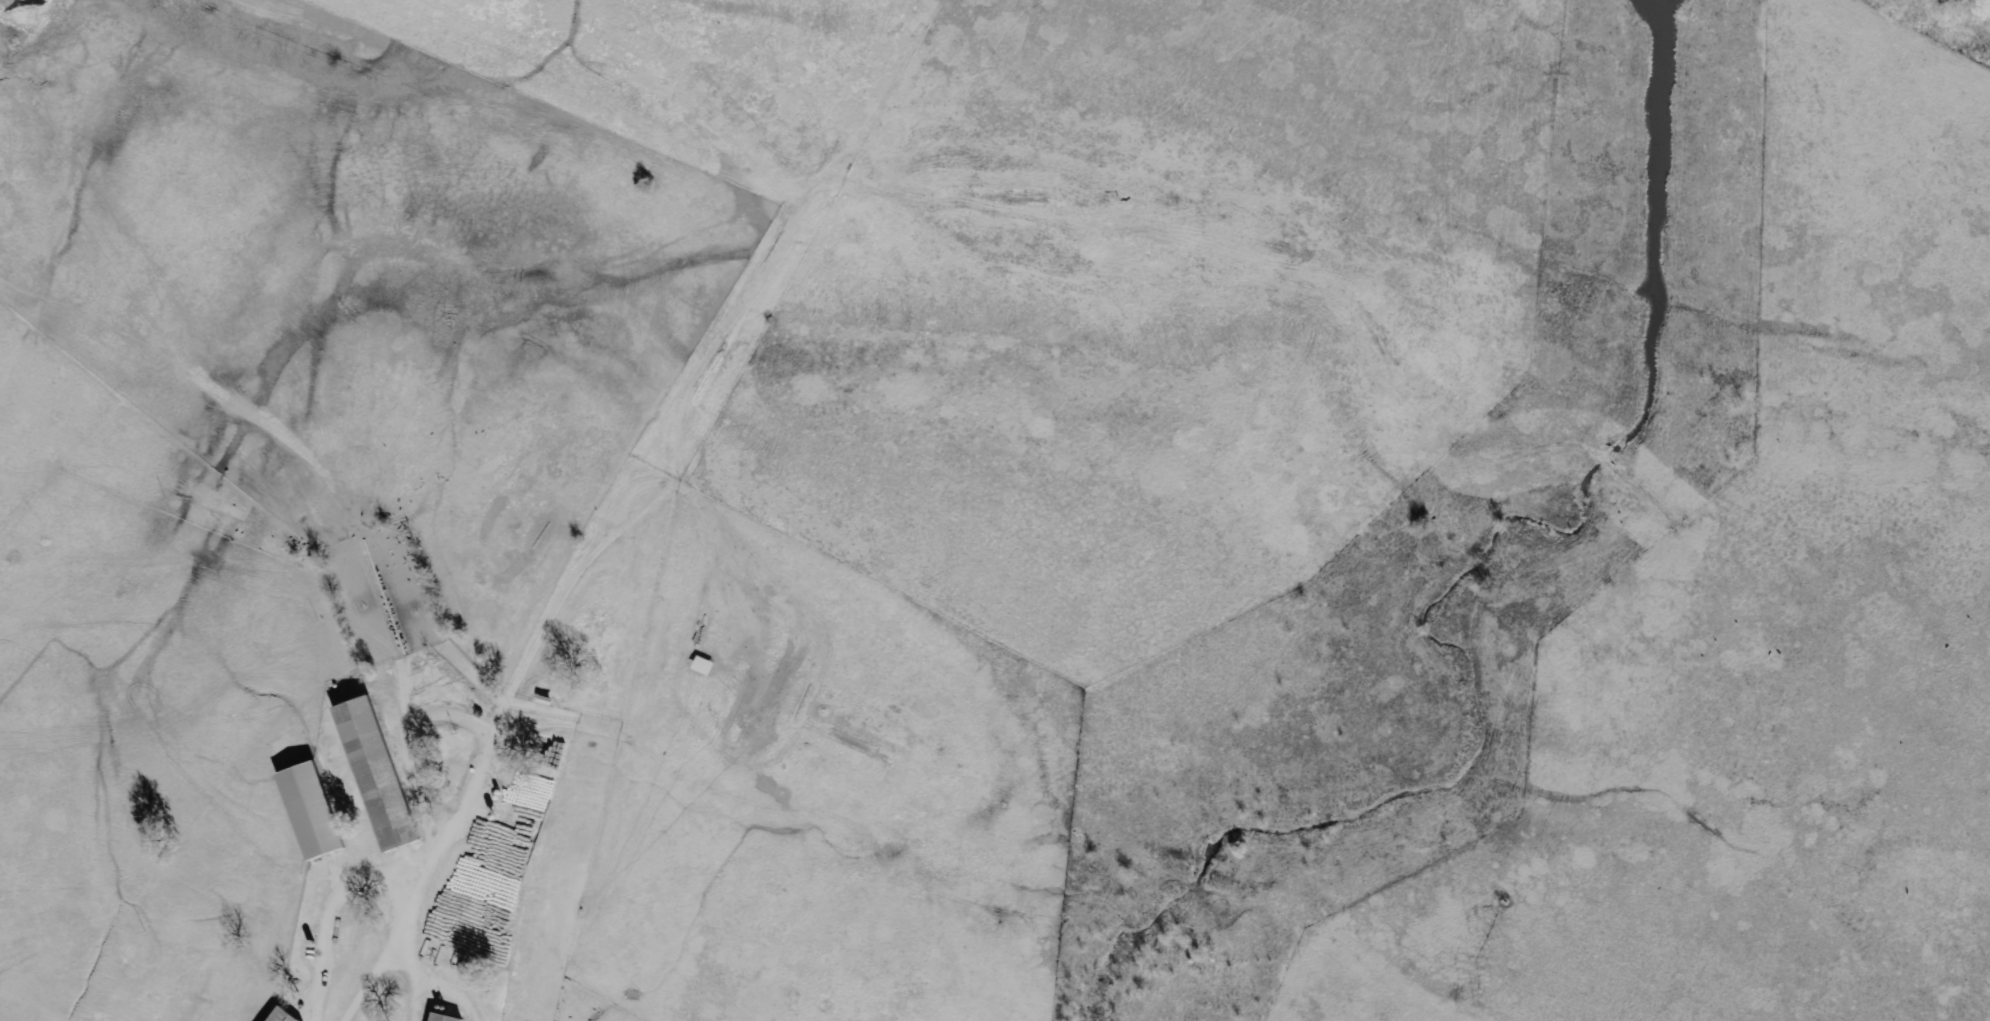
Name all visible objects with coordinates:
road: (604, 507)
building: (380, 773)
building: (315, 810)
building: (286, 1015)
building: (446, 1016)

